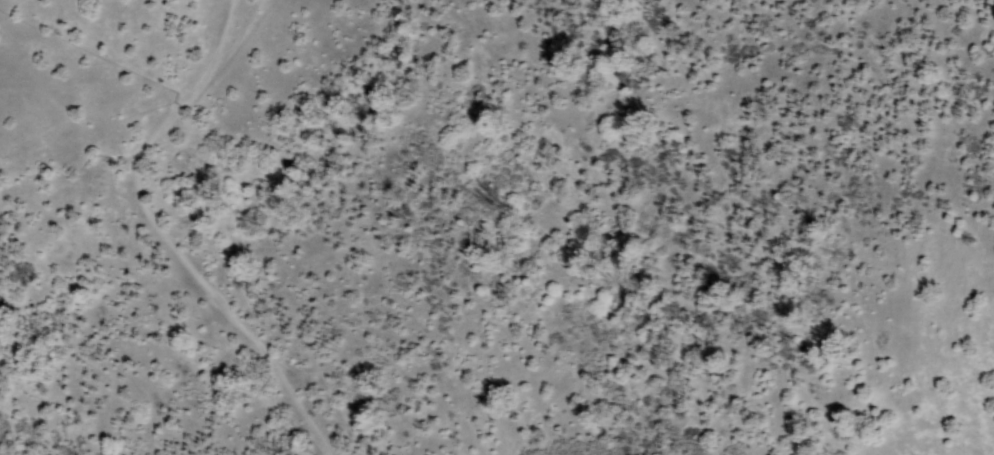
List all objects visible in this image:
road: (163, 235)

